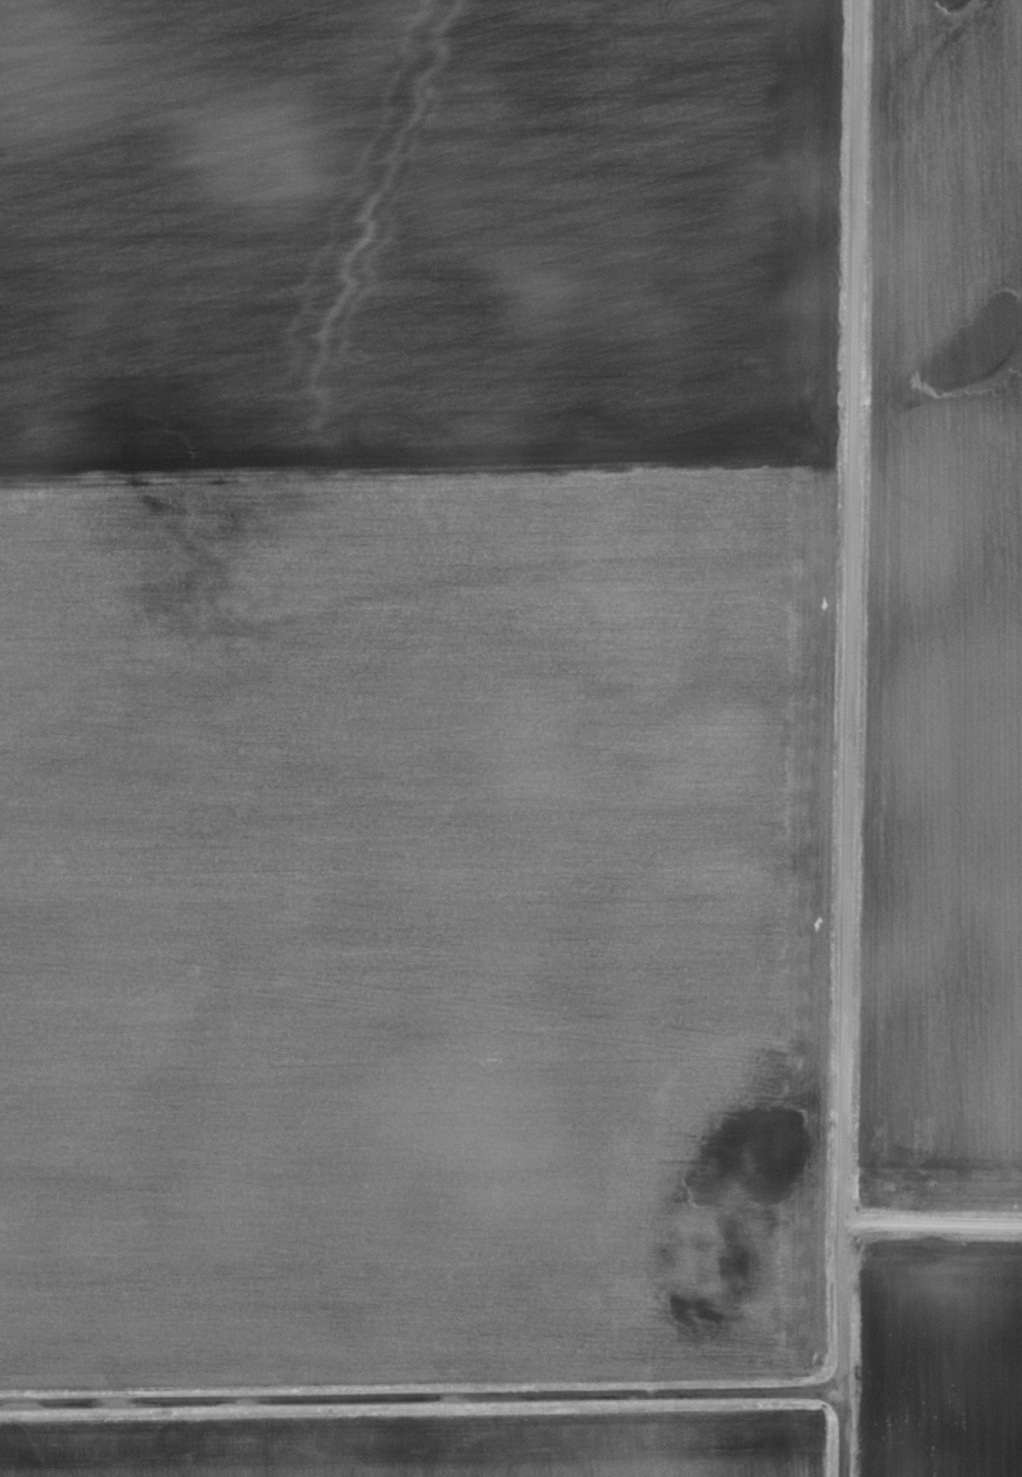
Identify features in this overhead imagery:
crop: (415, 687)
road: (849, 738)
road: (933, 1224)
road: (419, 1403)
crop: (428, 1445)

